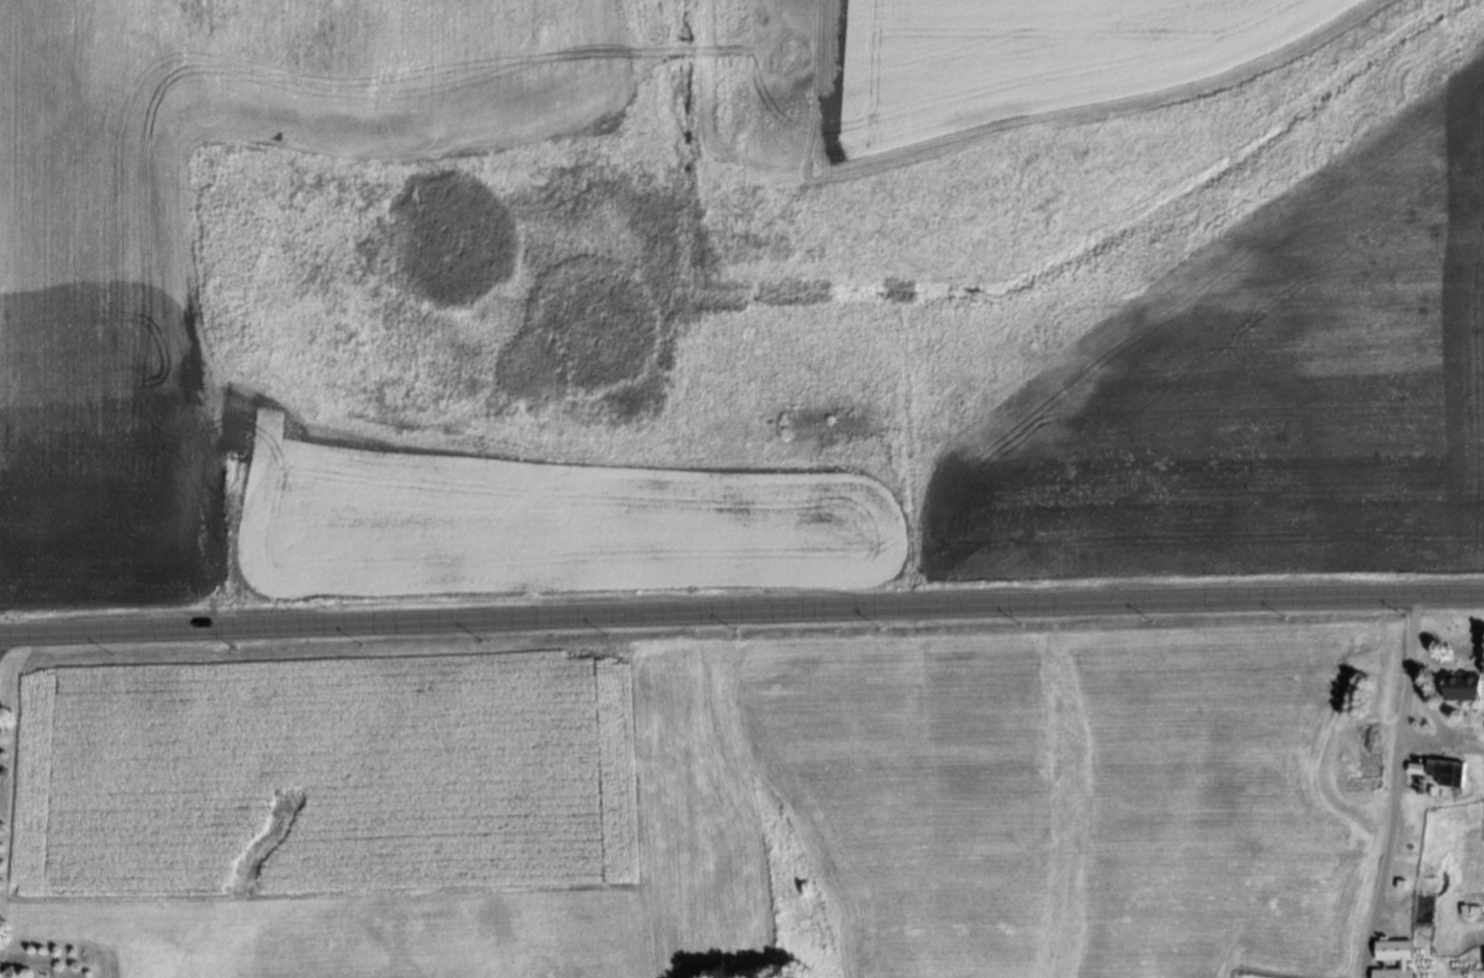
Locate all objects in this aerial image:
road: (741, 611)
building: (1459, 686)
road: (1428, 710)
road: (1440, 743)
building: (1364, 756)
building: (1415, 767)
building: (1441, 769)
building: (1410, 777)
road: (1391, 788)
building: (1357, 807)
building: (1460, 906)
building: (1470, 906)
building: (1483, 957)
building: (1399, 963)

